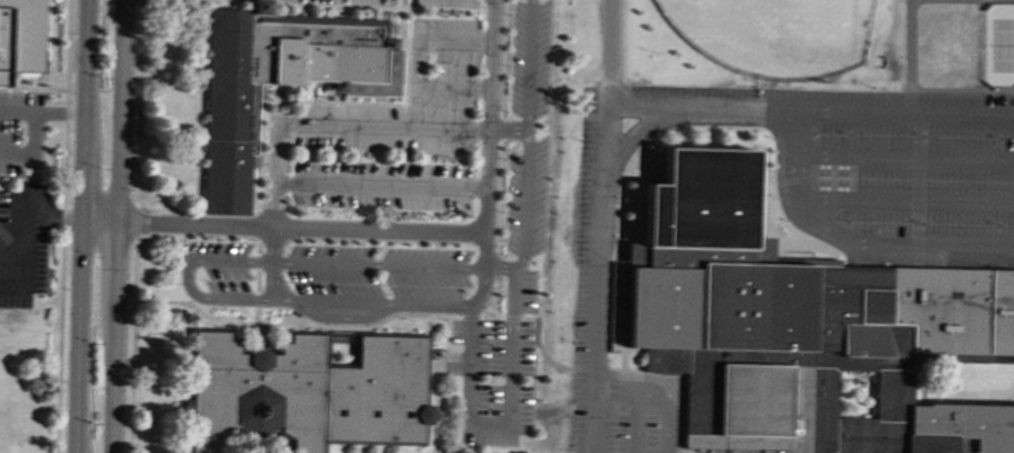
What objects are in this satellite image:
road: (229, 1)
park: (774, 34)
building: (19, 37)
road: (431, 38)
road: (622, 42)
road: (911, 45)
park: (1002, 45)
road: (609, 52)
road: (502, 58)
building: (279, 81)
road: (453, 83)
road: (962, 88)
road: (33, 89)
road: (138, 104)
road: (905, 112)
road: (42, 114)
parking lot: (402, 123)
road: (356, 125)
road: (500, 128)
road: (507, 129)
road: (634, 131)
parking lot: (22, 134)
road: (526, 135)
road: (35, 152)
road: (905, 158)
road: (918, 178)
road: (603, 183)
road: (380, 185)
road: (498, 197)
road: (274, 201)
road: (906, 201)
parking lot: (792, 205)
road: (29, 212)
road: (253, 214)
road: (100, 218)
road: (135, 223)
road: (258, 225)
road: (62, 226)
road: (82, 226)
road: (117, 226)
road: (417, 231)
building: (3, 239)
road: (853, 240)
parking lot: (22, 246)
road: (272, 246)
road: (258, 247)
road: (484, 251)
road: (27, 252)
road: (257, 261)
parking lot: (510, 262)
road: (378, 266)
road: (496, 266)
parking lot: (332, 270)
road: (186, 277)
road: (257, 281)
road: (272, 282)
road: (13, 287)
road: (495, 299)
road: (256, 300)
road: (392, 305)
road: (202, 315)
road: (471, 316)
road: (492, 317)
road: (343, 318)
road: (513, 318)
road: (360, 326)
building: (801, 327)
road: (131, 345)
road: (538, 346)
road: (585, 369)
building: (308, 393)
road: (655, 396)
road: (513, 414)
road: (636, 423)
road: (465, 439)

